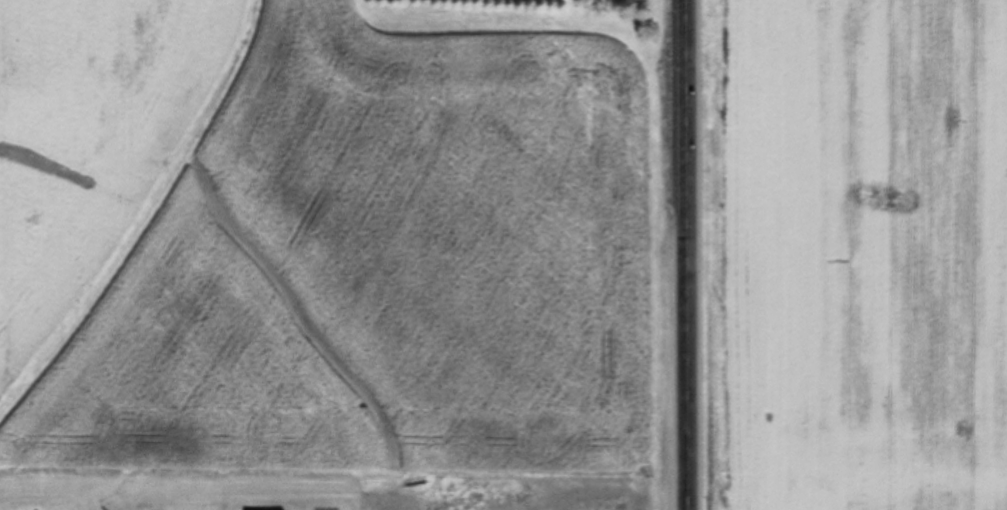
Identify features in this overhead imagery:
road: (682, 255)
airport: (322, 488)

